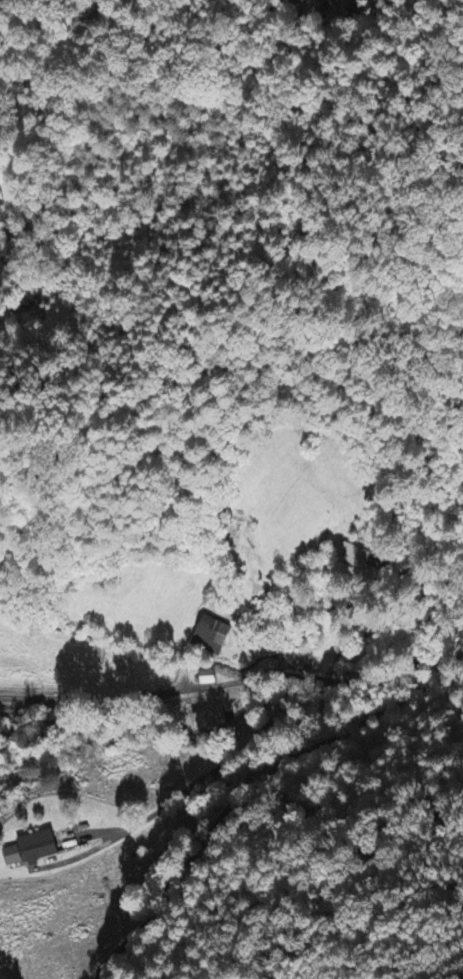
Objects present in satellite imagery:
building: (354, 557)
building: (207, 637)
road: (145, 692)
building: (212, 720)
building: (26, 851)

